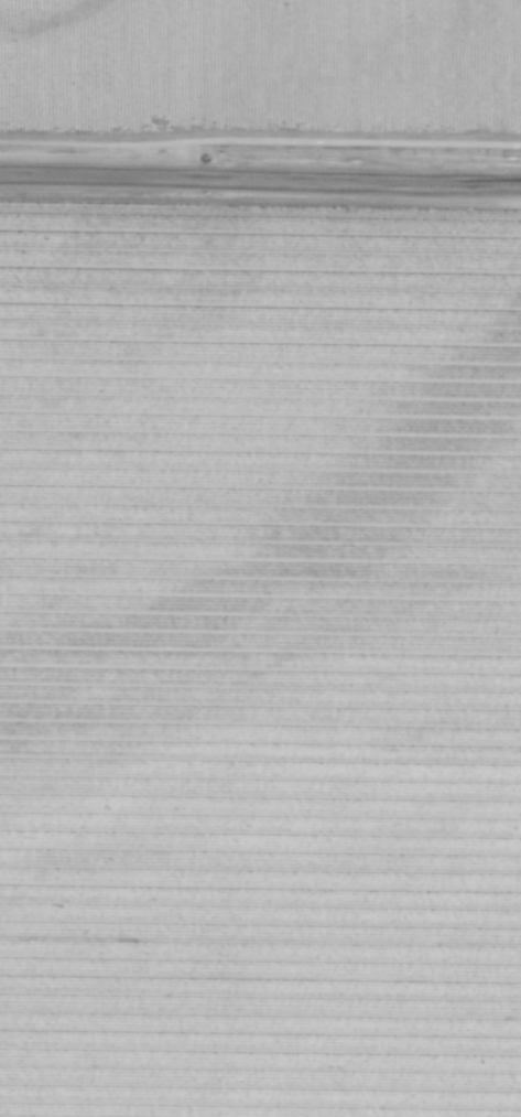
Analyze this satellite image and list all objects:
road: (260, 139)
road: (260, 176)

